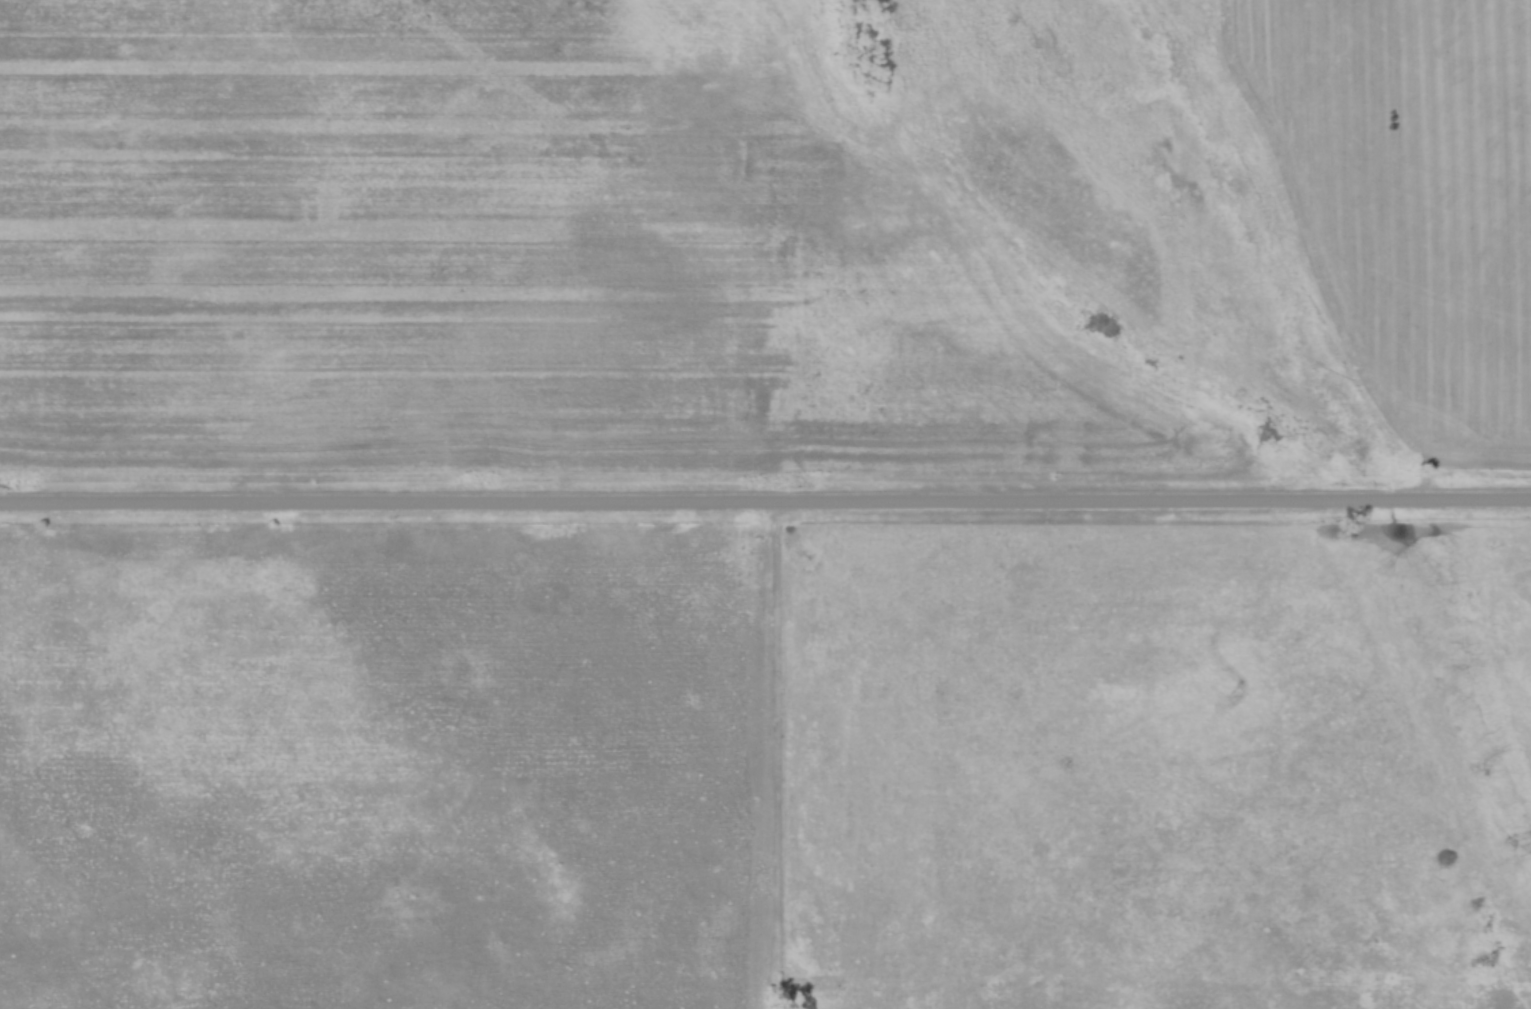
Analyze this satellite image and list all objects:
road: (765, 508)

